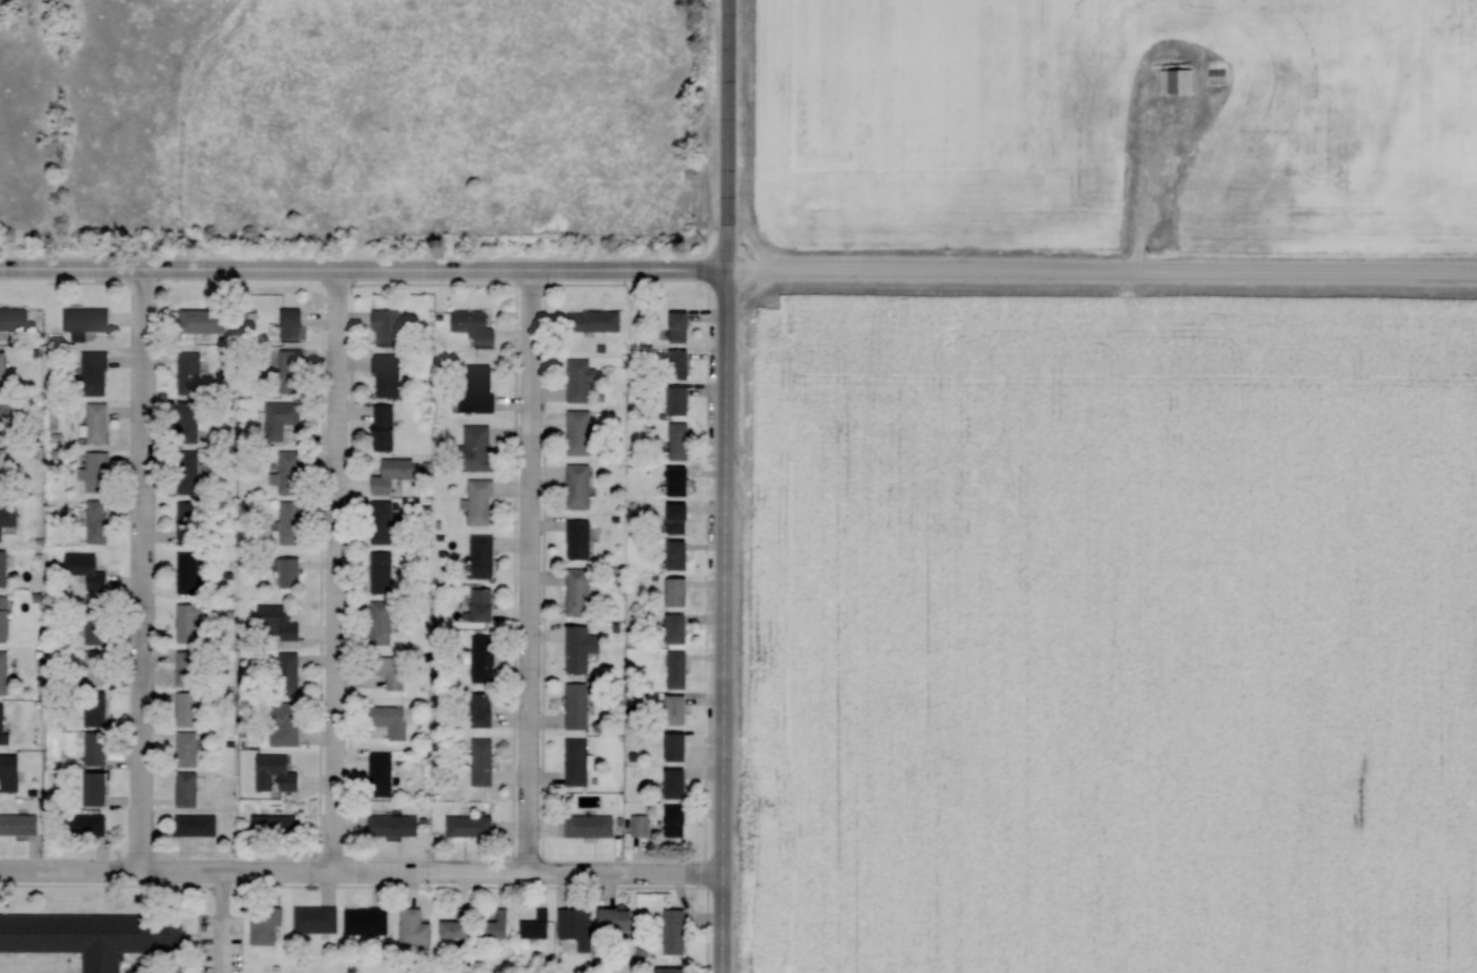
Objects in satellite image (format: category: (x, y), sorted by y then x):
building: (1215, 74)
building: (1173, 79)
road: (728, 134)
building: (1191, 189)
road: (1147, 204)
road: (362, 268)
road: (1101, 270)
building: (17, 318)
building: (206, 319)
building: (598, 319)
building: (89, 320)
building: (298, 323)
building: (479, 324)
building: (686, 325)
building: (391, 326)
building: (686, 362)
building: (5, 370)
building: (293, 370)
building: (98, 372)
building: (193, 372)
building: (390, 373)
building: (584, 378)
building: (482, 388)
building: (685, 399)
building: (284, 417)
building: (7, 419)
building: (100, 422)
building: (388, 426)
building: (583, 431)
building: (683, 439)
building: (482, 446)
building: (191, 469)
building: (7, 470)
building: (101, 470)
building: (397, 473)
building: (686, 480)
building: (583, 485)
building: (484, 501)
building: (684, 516)
building: (9, 517)
building: (192, 520)
building: (385, 520)
building: (100, 521)
building: (294, 521)
building: (583, 538)
building: (684, 553)
building: (487, 555)
building: (5, 567)
building: (90, 568)
building: (296, 570)
road: (144, 571)
building: (191, 571)
road: (338, 571)
building: (385, 571)
road: (531, 571)
building: (582, 590)
building: (684, 590)
building: (488, 602)
building: (6, 617)
building: (192, 619)
building: (283, 620)
road: (724, 620)
building: (99, 621)
building: (384, 621)
building: (684, 626)
crop: (1112, 631)
building: (585, 647)
building: (486, 657)
building: (190, 666)
building: (97, 667)
building: (682, 668)
building: (395, 670)
building: (6, 671)
building: (288, 694)
building: (581, 704)
building: (190, 707)
building: (485, 708)
building: (683, 709)
building: (97, 713)
building: (5, 722)
building: (392, 722)
building: (684, 745)
building: (99, 746)
building: (191, 748)
building: (581, 760)
building: (486, 761)
building: (13, 771)
building: (280, 772)
building: (384, 773)
building: (683, 782)
building: (99, 787)
building: (191, 787)
building: (682, 820)
building: (22, 823)
building: (200, 823)
building: (279, 823)
building: (399, 824)
building: (474, 824)
building: (644, 824)
building: (95, 825)
building: (593, 825)
road: (361, 874)
building: (622, 917)
building: (320, 919)
building: (369, 919)
building: (578, 921)
building: (462, 923)
road: (216, 924)
building: (269, 924)
building: (503, 924)
building: (541, 924)
building: (418, 926)
building: (680, 930)
building: (94, 935)
building: (679, 969)

